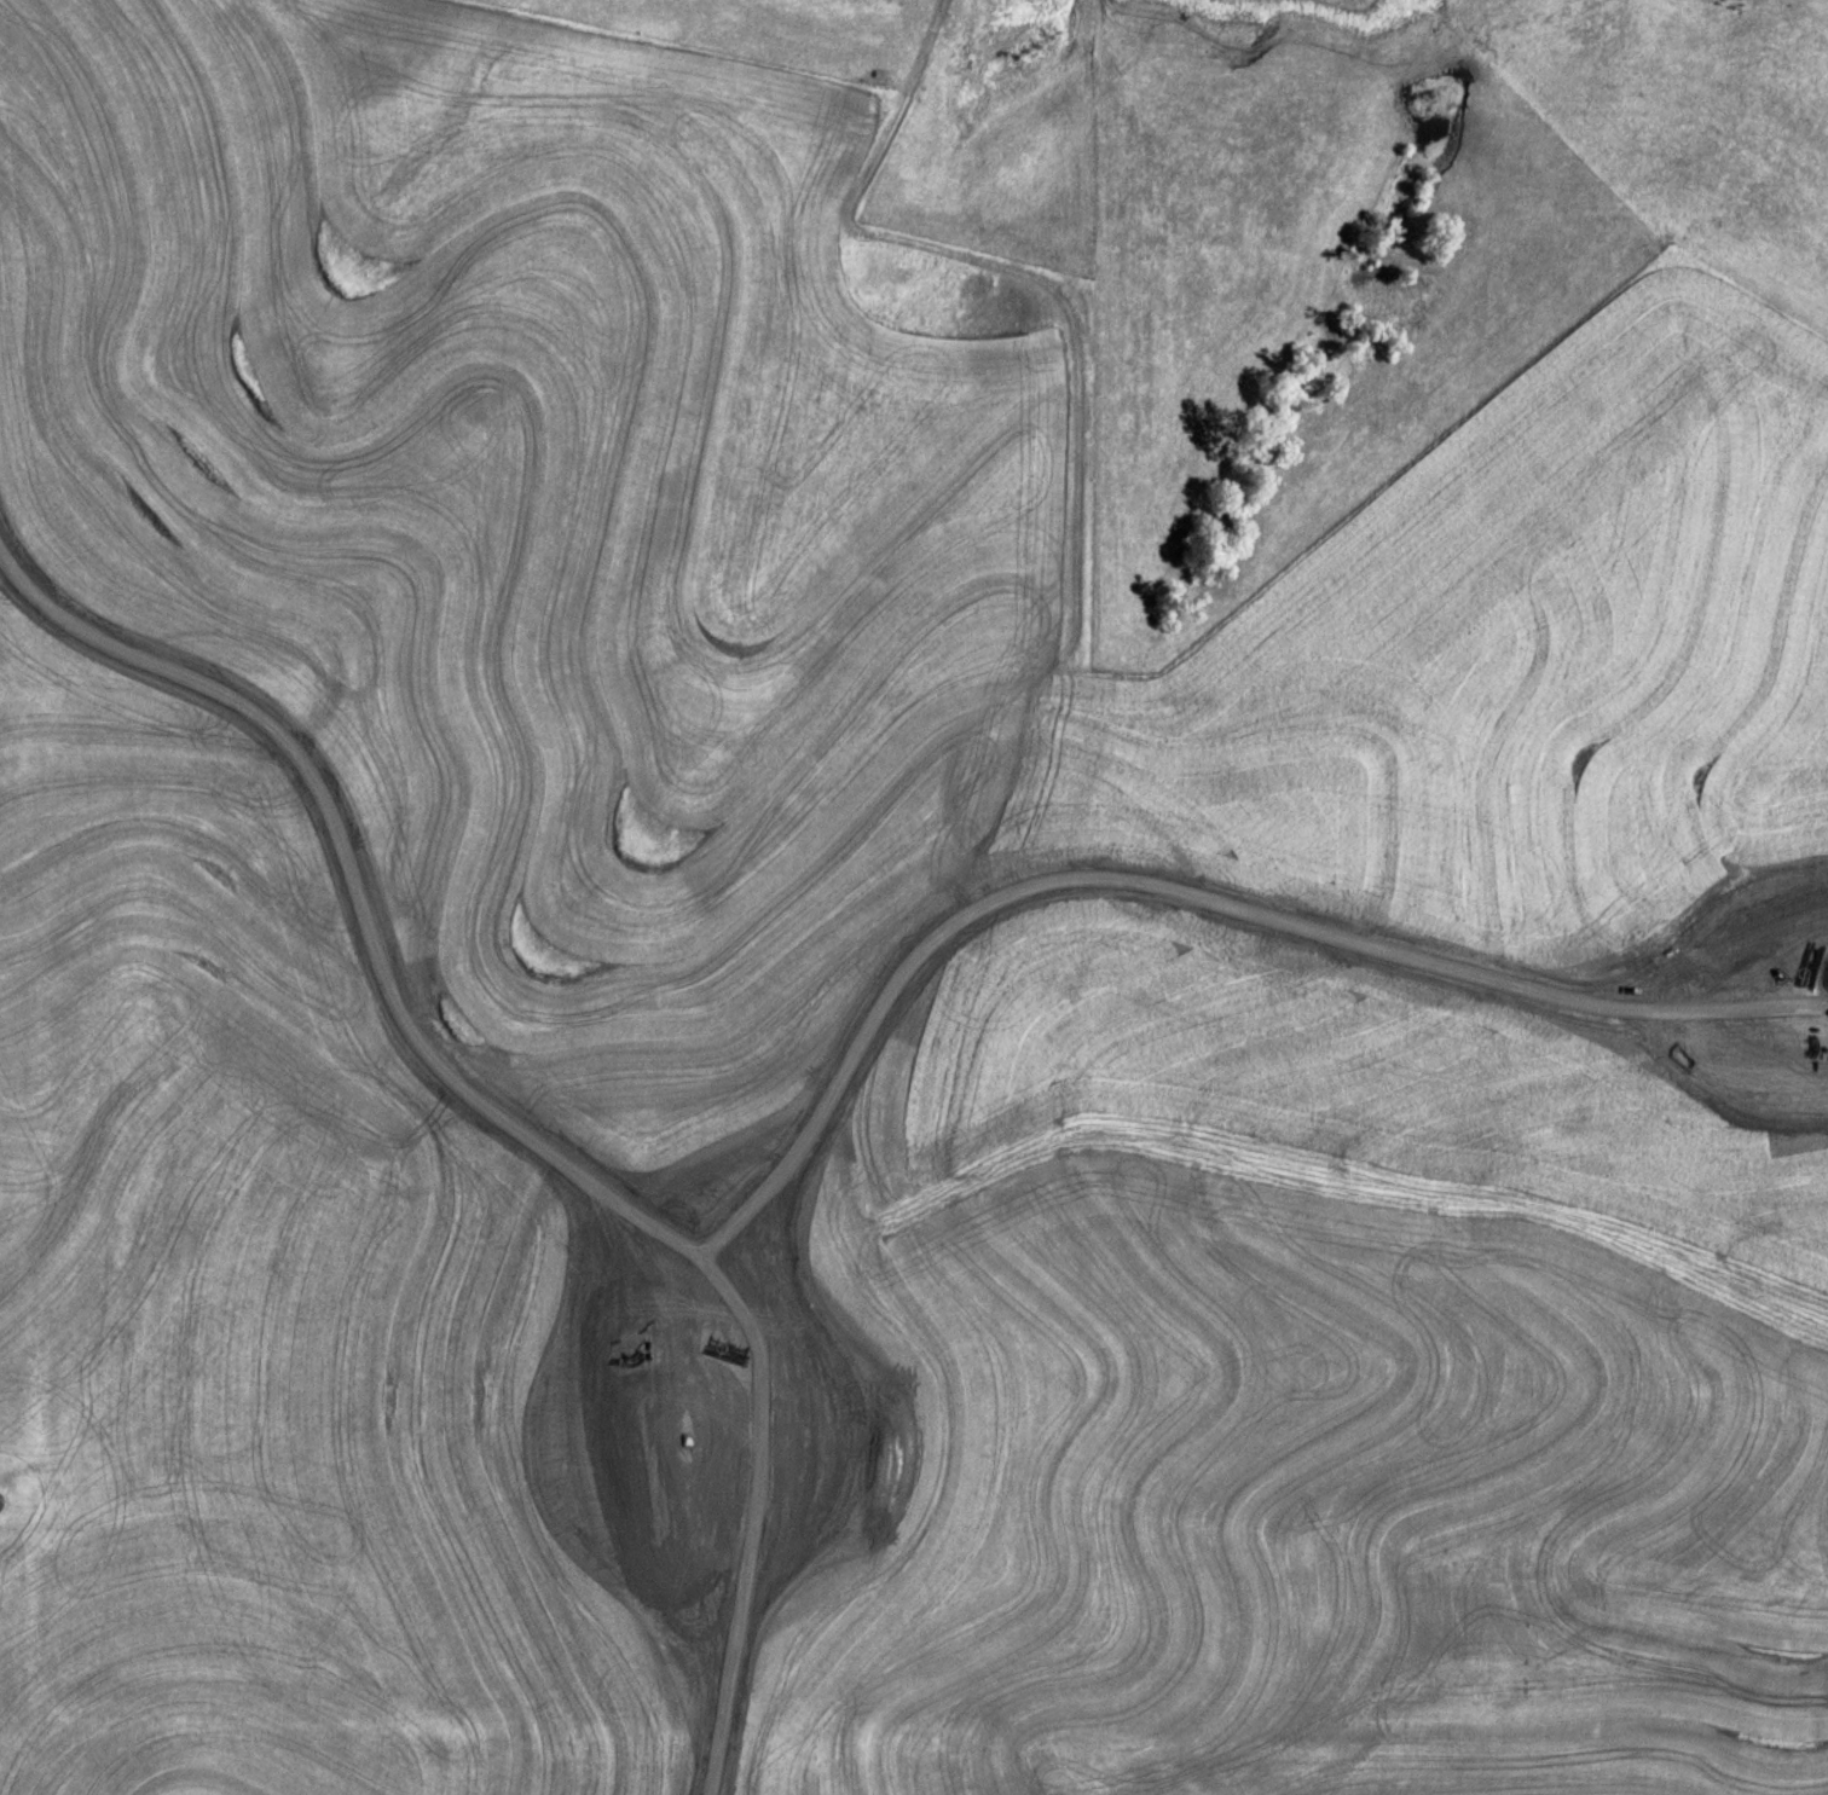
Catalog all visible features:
wind turbine: (687, 1435)

